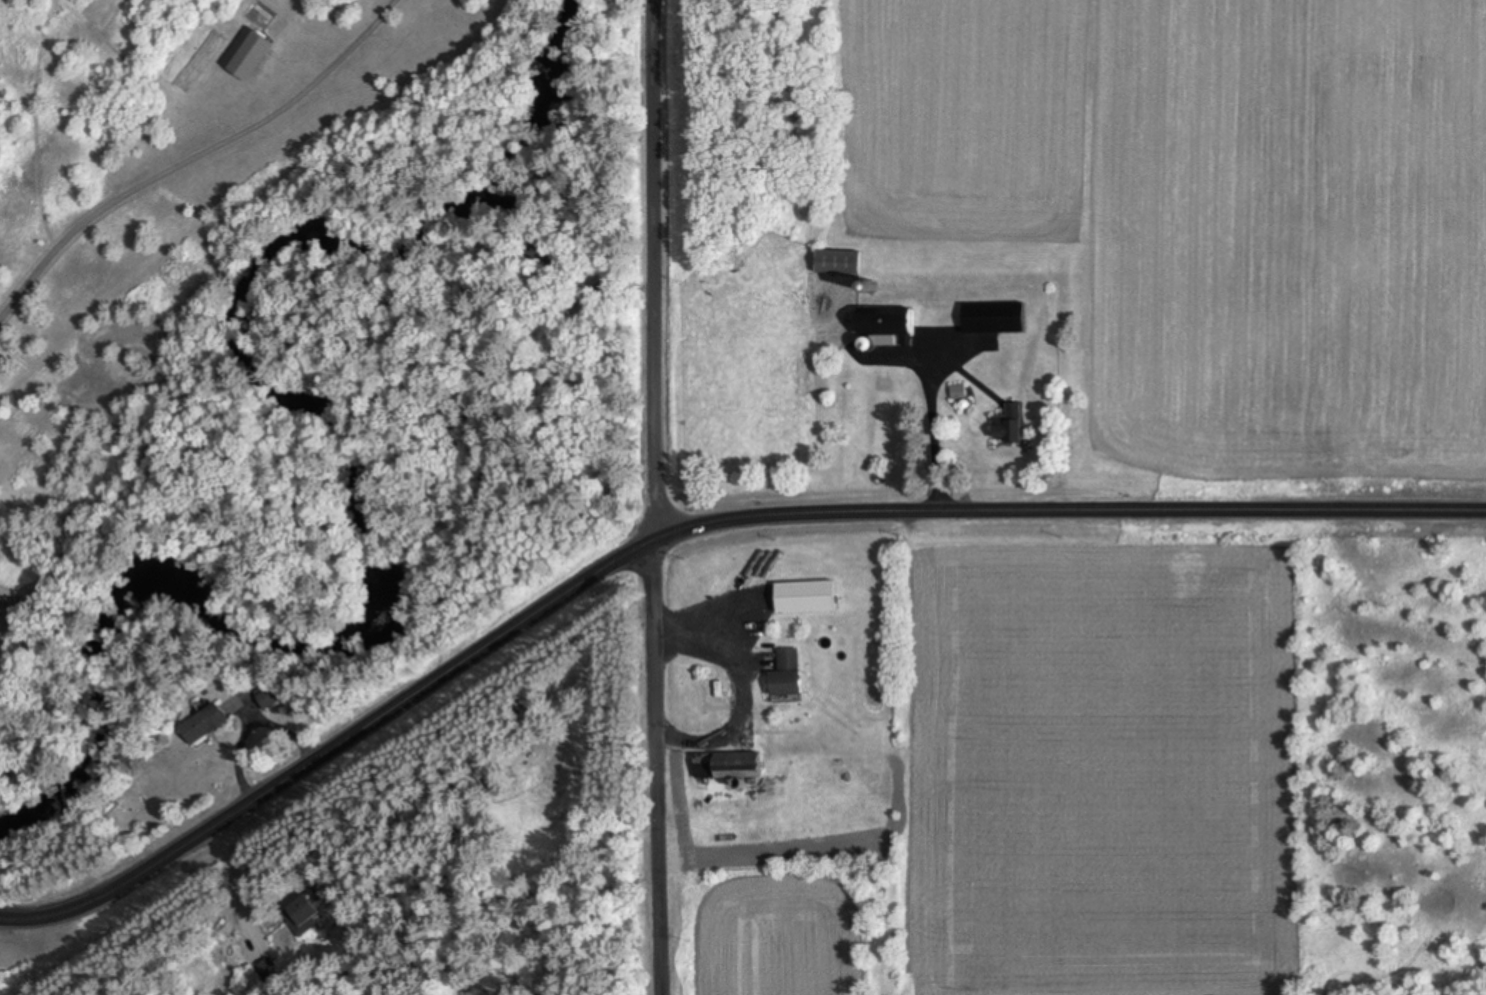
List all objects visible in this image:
building: (243, 54)
building: (835, 262)
building: (991, 320)
building: (873, 328)
building: (1006, 424)
road: (665, 496)
road: (688, 526)
building: (10, 607)
building: (782, 675)
building: (707, 692)
building: (264, 699)
building: (200, 725)
building: (724, 765)
building: (299, 913)
road: (1, 915)

